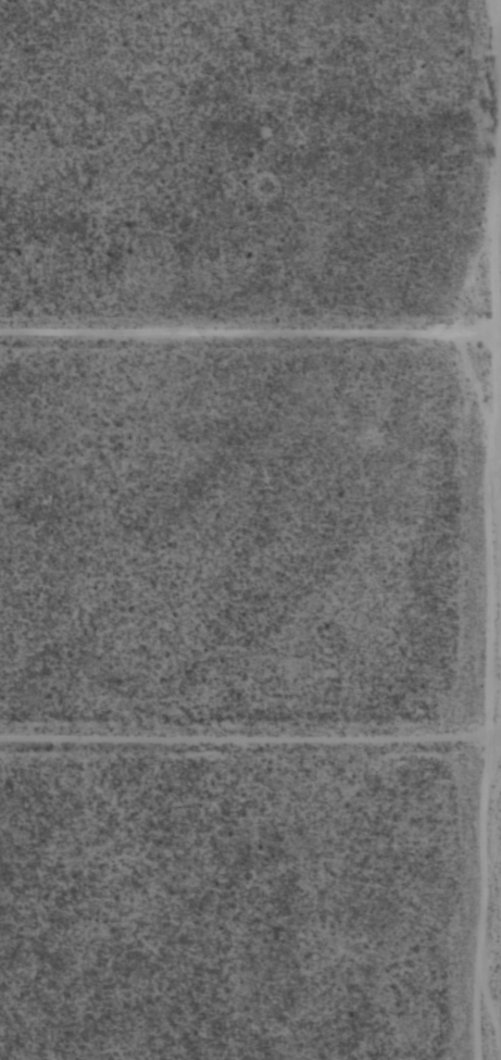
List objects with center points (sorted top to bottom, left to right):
road: (250, 332)
road: (250, 737)

